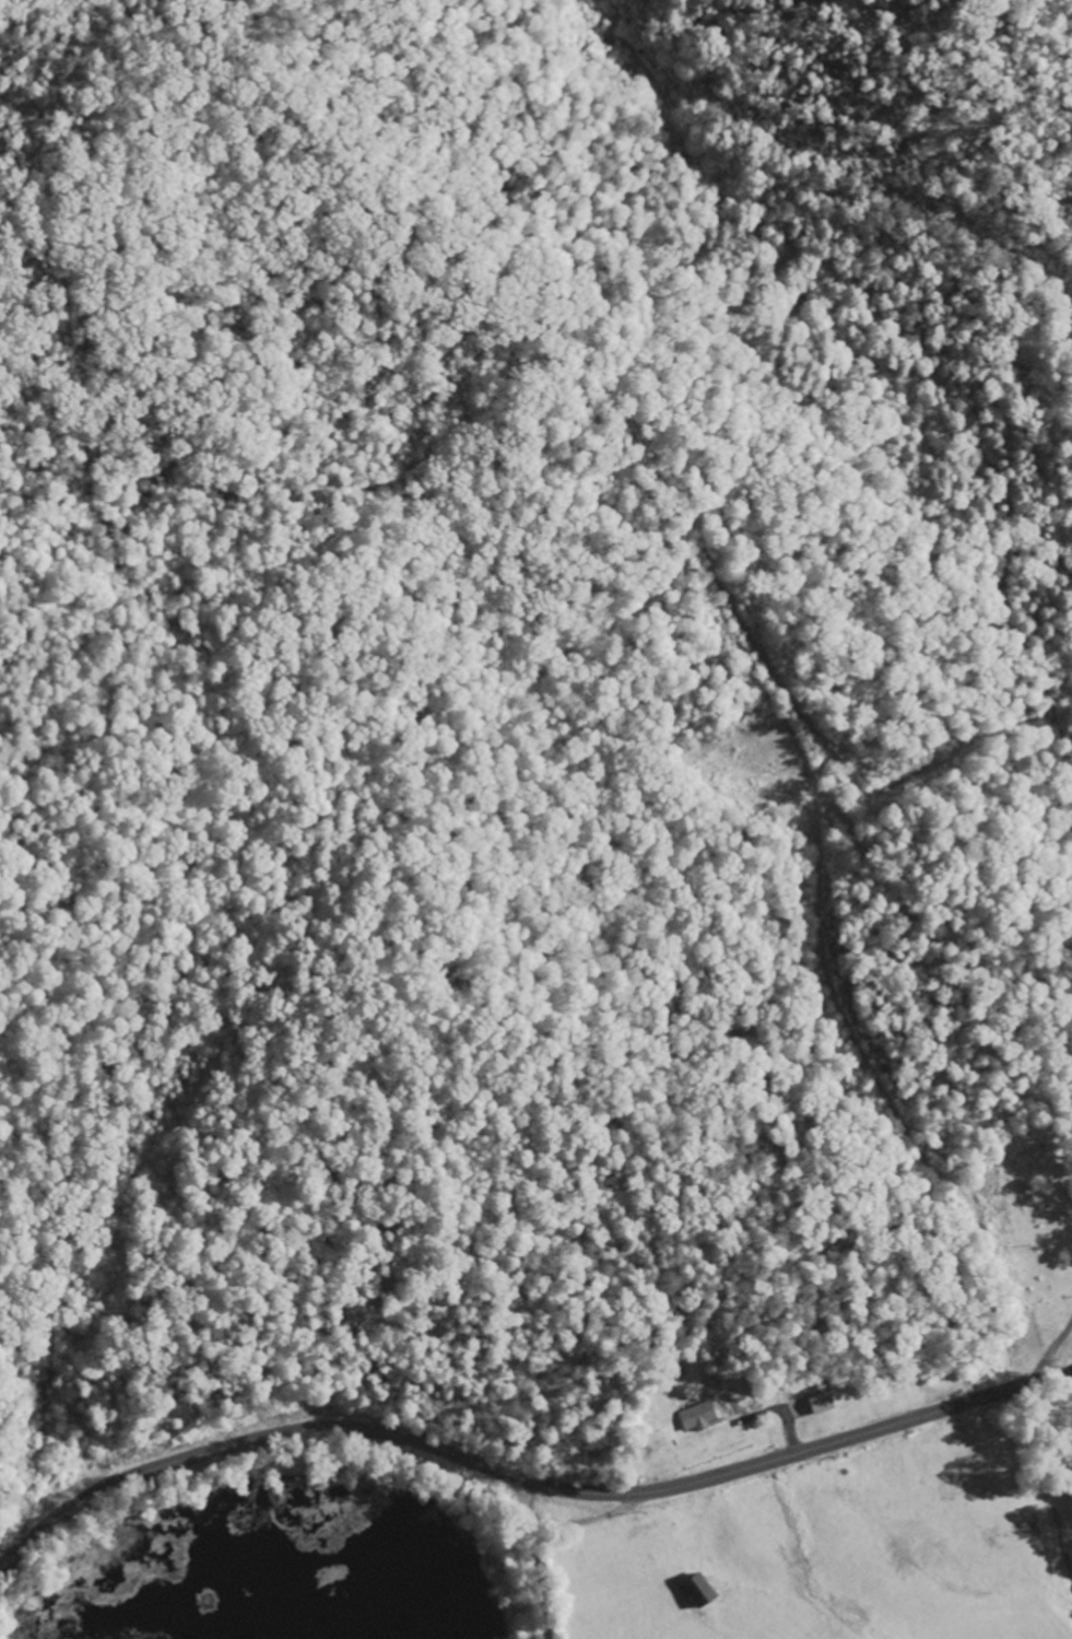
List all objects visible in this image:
park: (1064, 294)
road: (959, 422)
park: (1046, 1175)
road: (1055, 1321)
building: (820, 1402)
building: (697, 1416)
road: (785, 1425)
road: (523, 1476)
road: (591, 1520)
road: (538, 1556)
building: (702, 1591)

